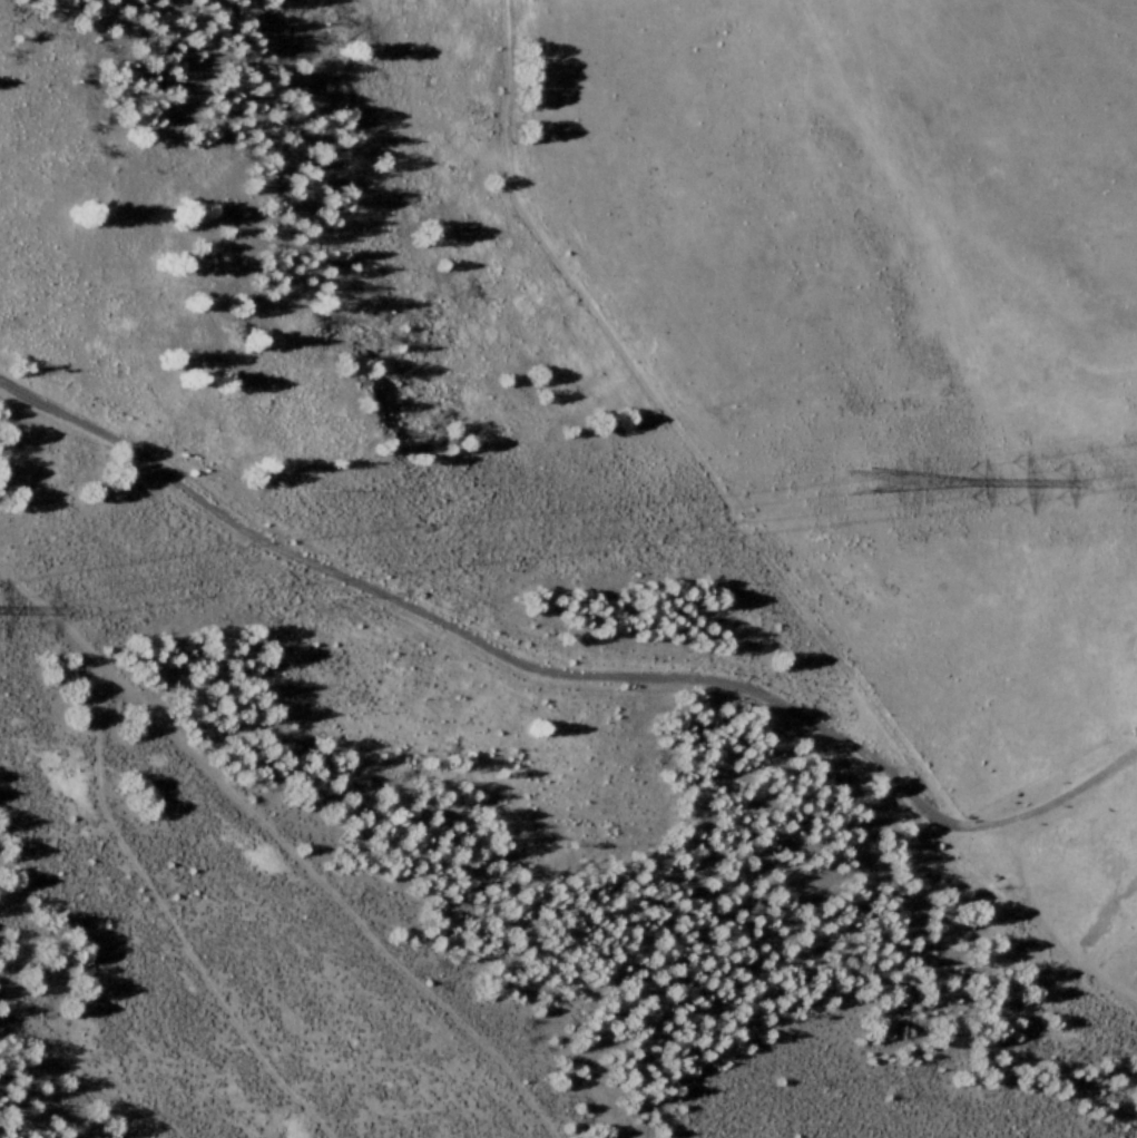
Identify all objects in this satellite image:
power tower: (857, 481)
road: (717, 518)
road: (380, 600)

